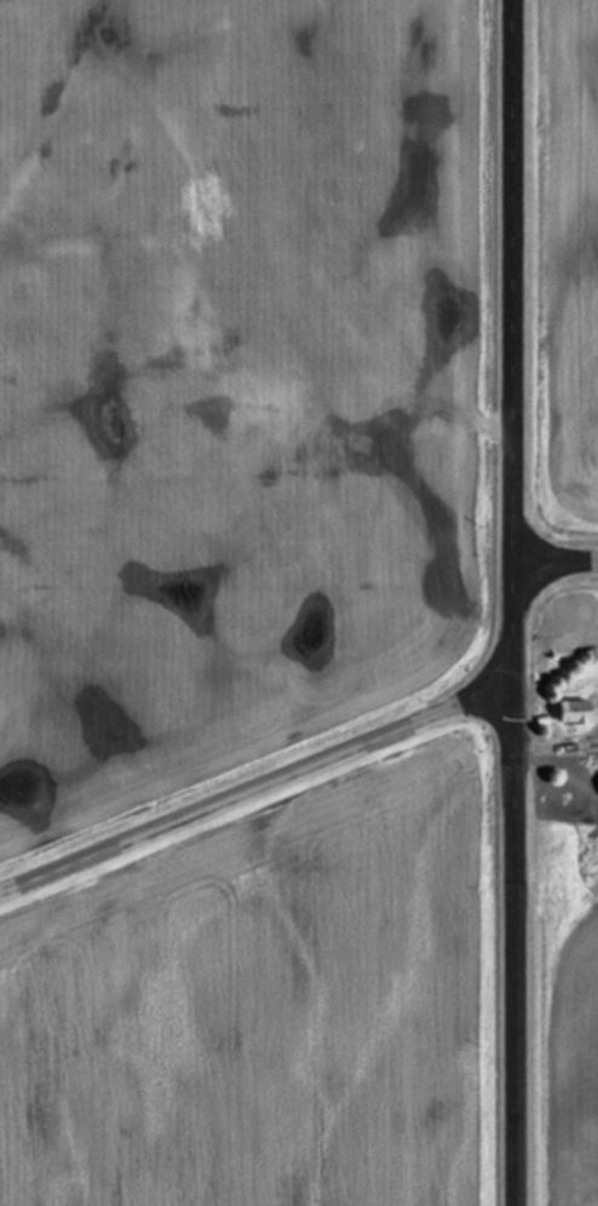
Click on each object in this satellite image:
road: (557, 562)
road: (514, 603)
road: (255, 788)

